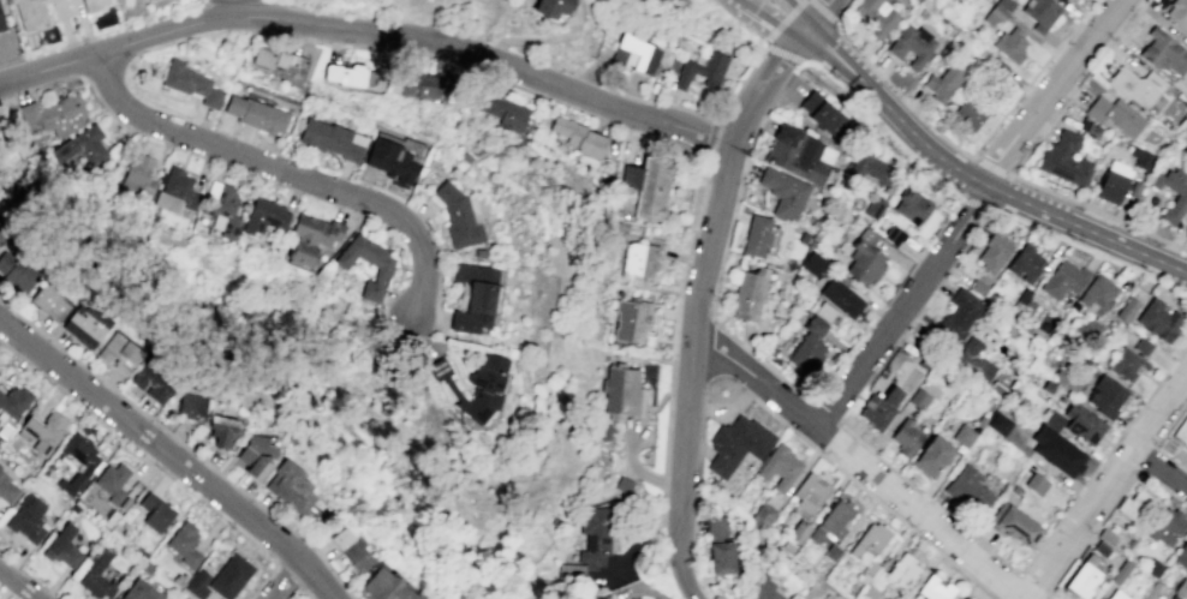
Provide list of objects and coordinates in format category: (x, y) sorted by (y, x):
building: (1060, 0)
road: (66, 4)
building: (93, 4)
road: (229, 7)
building: (549, 7)
road: (823, 11)
building: (997, 11)
building: (29, 13)
road: (799, 13)
road: (819, 13)
building: (1040, 13)
building: (1176, 13)
road: (789, 16)
building: (876, 16)
road: (773, 19)
building: (1, 23)
road: (1074, 24)
road: (770, 37)
road: (79, 40)
road: (525, 40)
road: (1039, 41)
building: (1009, 43)
building: (911, 44)
road: (115, 47)
road: (1052, 52)
building: (1163, 52)
road: (31, 54)
building: (636, 54)
road: (488, 55)
building: (273, 58)
building: (996, 67)
building: (702, 70)
road: (488, 72)
building: (347, 74)
building: (190, 83)
building: (942, 83)
road: (767, 84)
building: (419, 85)
building: (1137, 85)
road: (1078, 86)
road: (896, 92)
road: (1009, 106)
building: (503, 112)
building: (823, 112)
building: (54, 113)
building: (255, 113)
building: (968, 113)
building: (1115, 115)
road: (711, 119)
road: (879, 121)
building: (579, 137)
building: (330, 139)
building: (1185, 139)
road: (711, 143)
building: (80, 145)
building: (800, 155)
building: (1064, 158)
building: (1141, 158)
building: (389, 160)
road: (992, 167)
building: (870, 168)
road: (285, 172)
building: (138, 174)
building: (631, 175)
building: (1113, 181)
road: (974, 184)
building: (654, 188)
building: (174, 191)
building: (785, 192)
building: (1173, 192)
road: (735, 203)
road: (979, 203)
building: (221, 206)
building: (875, 206)
building: (913, 206)
road: (967, 211)
road: (1098, 211)
building: (263, 216)
building: (457, 216)
building: (4, 235)
building: (895, 235)
building: (311, 236)
building: (757, 236)
road: (1092, 250)
building: (994, 251)
building: (866, 259)
building: (640, 260)
building: (815, 263)
building: (1024, 263)
building: (382, 268)
building: (17, 270)
building: (1063, 278)
building: (977, 288)
building: (1097, 293)
building: (748, 295)
building: (1022, 295)
building: (471, 298)
building: (842, 298)
building: (48, 303)
building: (1126, 309)
building: (825, 311)
building: (960, 313)
road: (678, 317)
building: (1158, 319)
building: (632, 322)
building: (87, 325)
building: (816, 327)
building: (1086, 328)
building: (118, 353)
building: (807, 355)
road: (709, 357)
building: (973, 360)
building: (1129, 360)
road: (764, 363)
road: (688, 371)
road: (721, 377)
building: (1064, 379)
building: (151, 382)
road: (762, 384)
building: (472, 385)
building: (1045, 385)
building: (621, 389)
road: (750, 393)
road: (704, 395)
building: (1105, 396)
building: (918, 399)
building: (14, 402)
building: (191, 406)
road: (703, 406)
building: (879, 408)
road: (728, 411)
road: (828, 412)
building: (1052, 420)
building: (1082, 421)
road: (1170, 423)
building: (998, 425)
building: (29, 430)
building: (1182, 430)
building: (5, 431)
building: (221, 431)
building: (50, 435)
building: (962, 436)
building: (906, 438)
road: (700, 442)
building: (738, 444)
building: (1056, 450)
road: (1151, 451)
building: (82, 453)
road: (172, 455)
building: (255, 455)
building: (931, 457)
road: (1170, 457)
road: (1103, 459)
road: (1143, 463)
road: (1159, 466)
building: (780, 467)
road: (638, 469)
road: (666, 481)
building: (113, 483)
building: (624, 484)
building: (1036, 484)
road: (1105, 485)
building: (73, 486)
road: (1162, 487)
building: (290, 489)
building: (7, 490)
building: (967, 490)
building: (811, 491)
road: (873, 498)
road: (929, 498)
building: (1134, 505)
road: (664, 508)
building: (156, 514)
building: (763, 516)
road: (926, 517)
building: (28, 520)
building: (836, 520)
building: (1014, 526)
building: (1163, 526)
building: (716, 529)
road: (1092, 532)
building: (800, 533)
building: (595, 534)
building: (1104, 534)
road: (252, 539)
building: (870, 540)
building: (185, 545)
building: (64, 549)
building: (1100, 549)
building: (350, 552)
building: (833, 553)
building: (1182, 556)
building: (721, 557)
building: (1152, 567)
building: (901, 570)
road: (290, 571)
building: (1120, 571)
building: (867, 574)
road: (1021, 576)
building: (99, 577)
building: (232, 577)
building: (1081, 577)
road: (282, 579)
road: (18, 583)
building: (198, 585)
building: (388, 586)
building: (935, 588)
building: (1181, 588)
building: (141, 591)
building: (764, 591)
building: (1152, 591)
road: (306, 593)
building: (1116, 595)
building: (905, 597)
road: (1048, 597)
building: (656, 598)
building: (966, 598)

